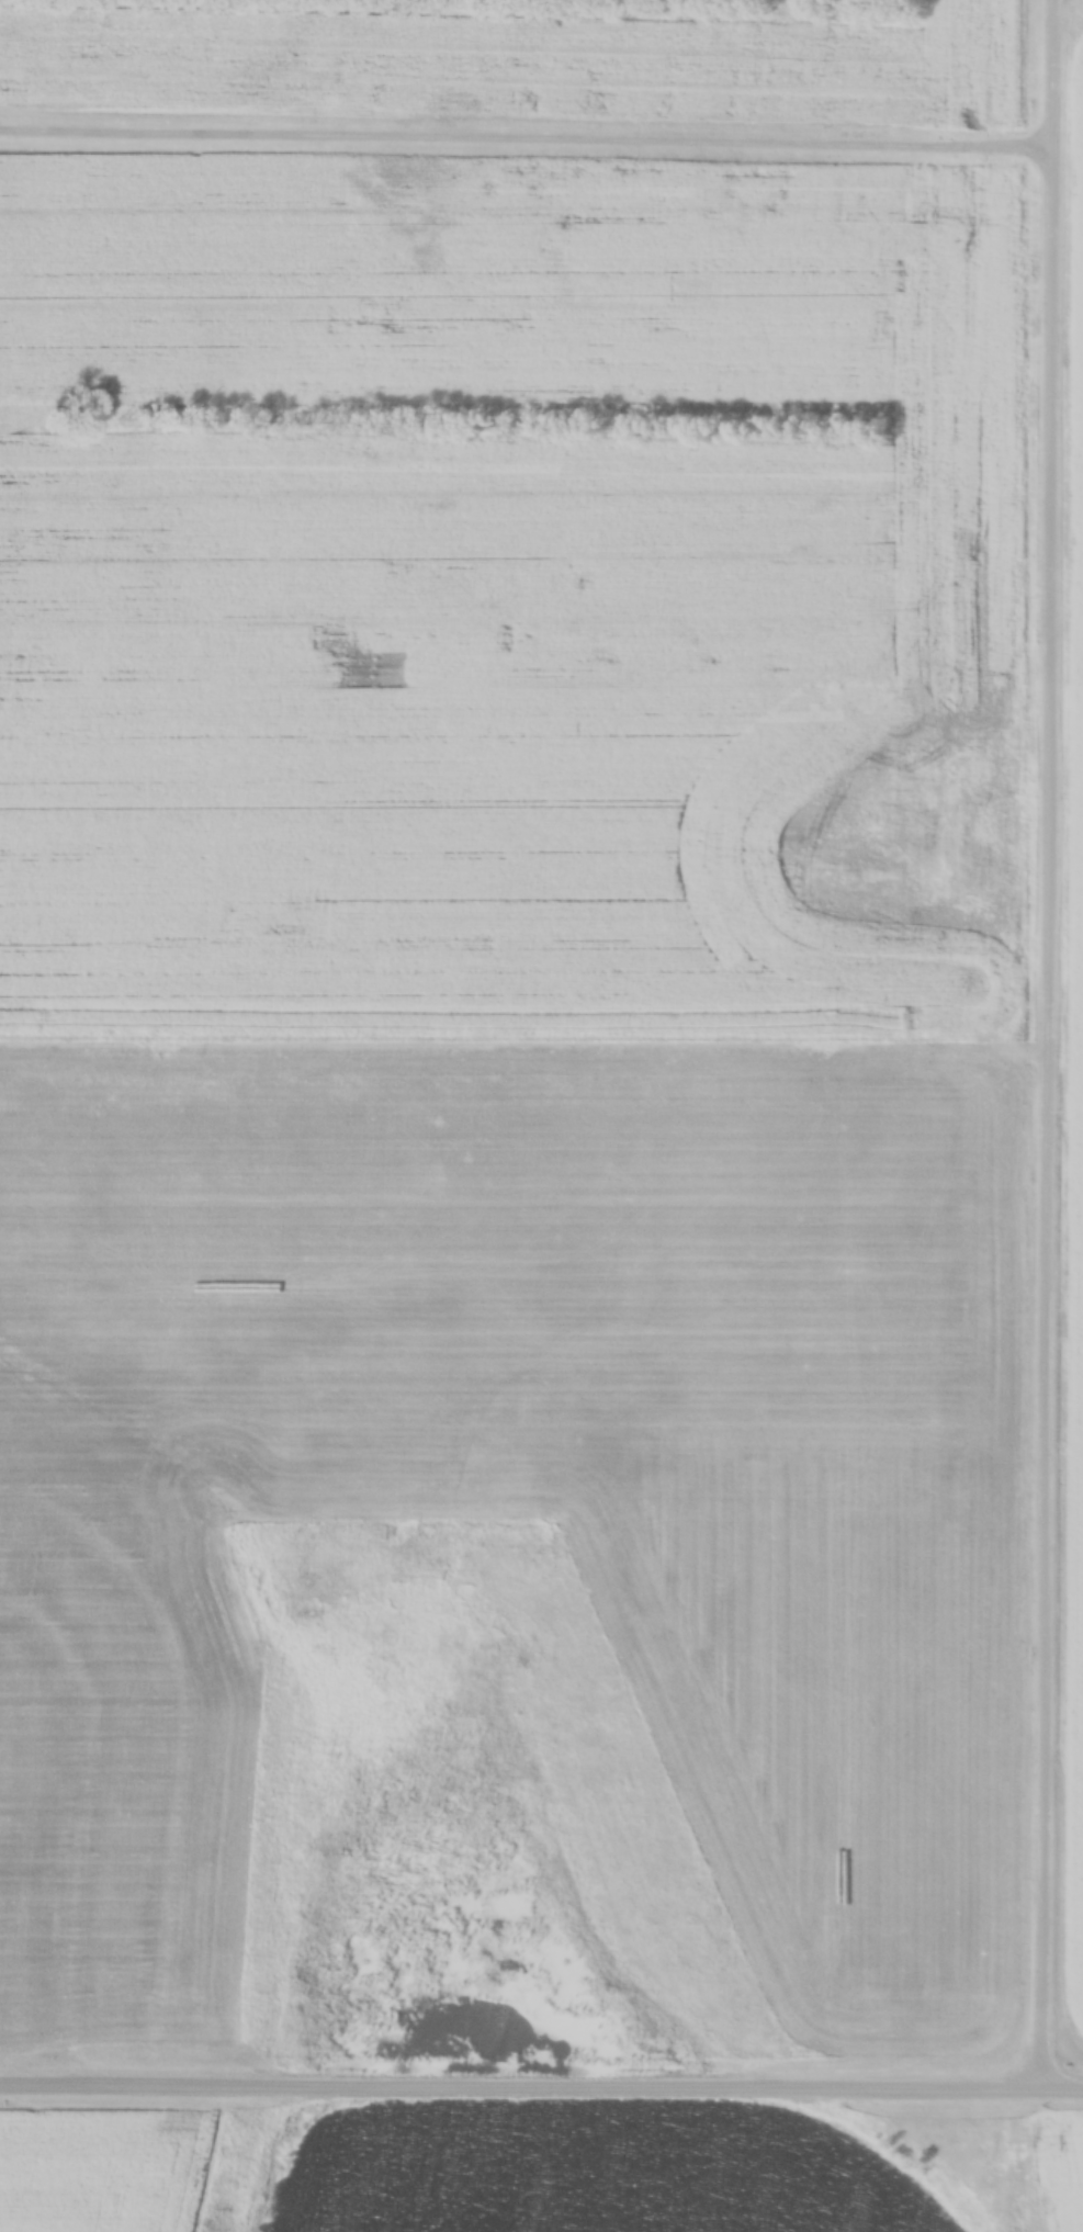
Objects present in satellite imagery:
road: (1061, 1046)
road: (541, 2088)

